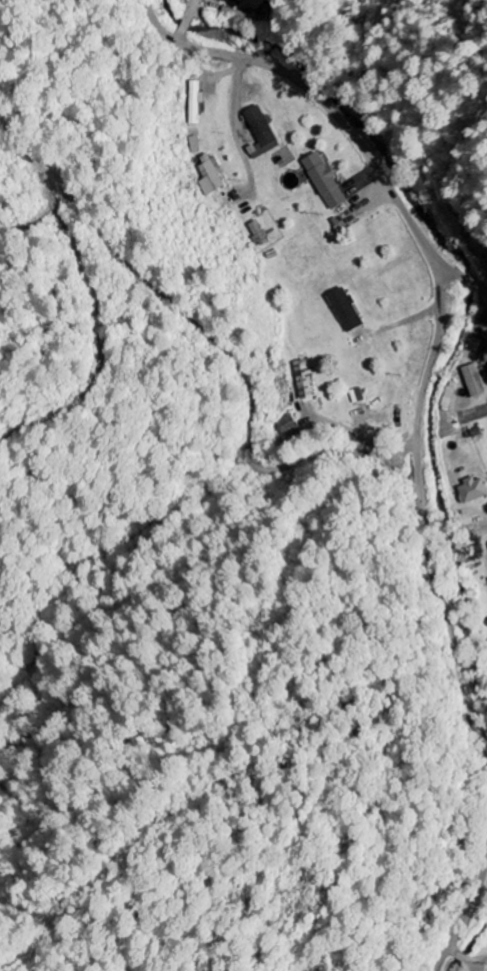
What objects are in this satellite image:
building: (195, 103)
road: (336, 117)
building: (262, 134)
building: (209, 178)
building: (326, 183)
building: (258, 234)
building: (347, 310)
building: (484, 319)
building: (475, 346)
building: (305, 380)
building: (476, 381)
building: (474, 491)
road: (420, 506)
road: (464, 914)

